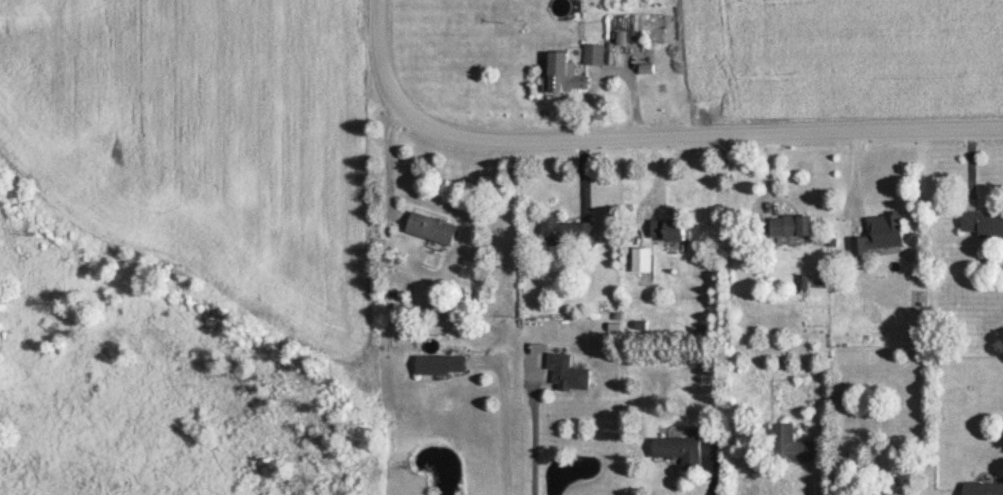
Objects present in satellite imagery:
building: (594, 53)
building: (564, 73)
road: (641, 128)
road: (388, 154)
building: (982, 222)
building: (791, 224)
building: (432, 227)
building: (667, 228)
building: (567, 231)
building: (441, 363)
building: (568, 373)
road: (507, 416)
road: (533, 426)
building: (791, 445)
building: (680, 450)
road: (716, 472)
road: (811, 480)
building: (983, 488)

